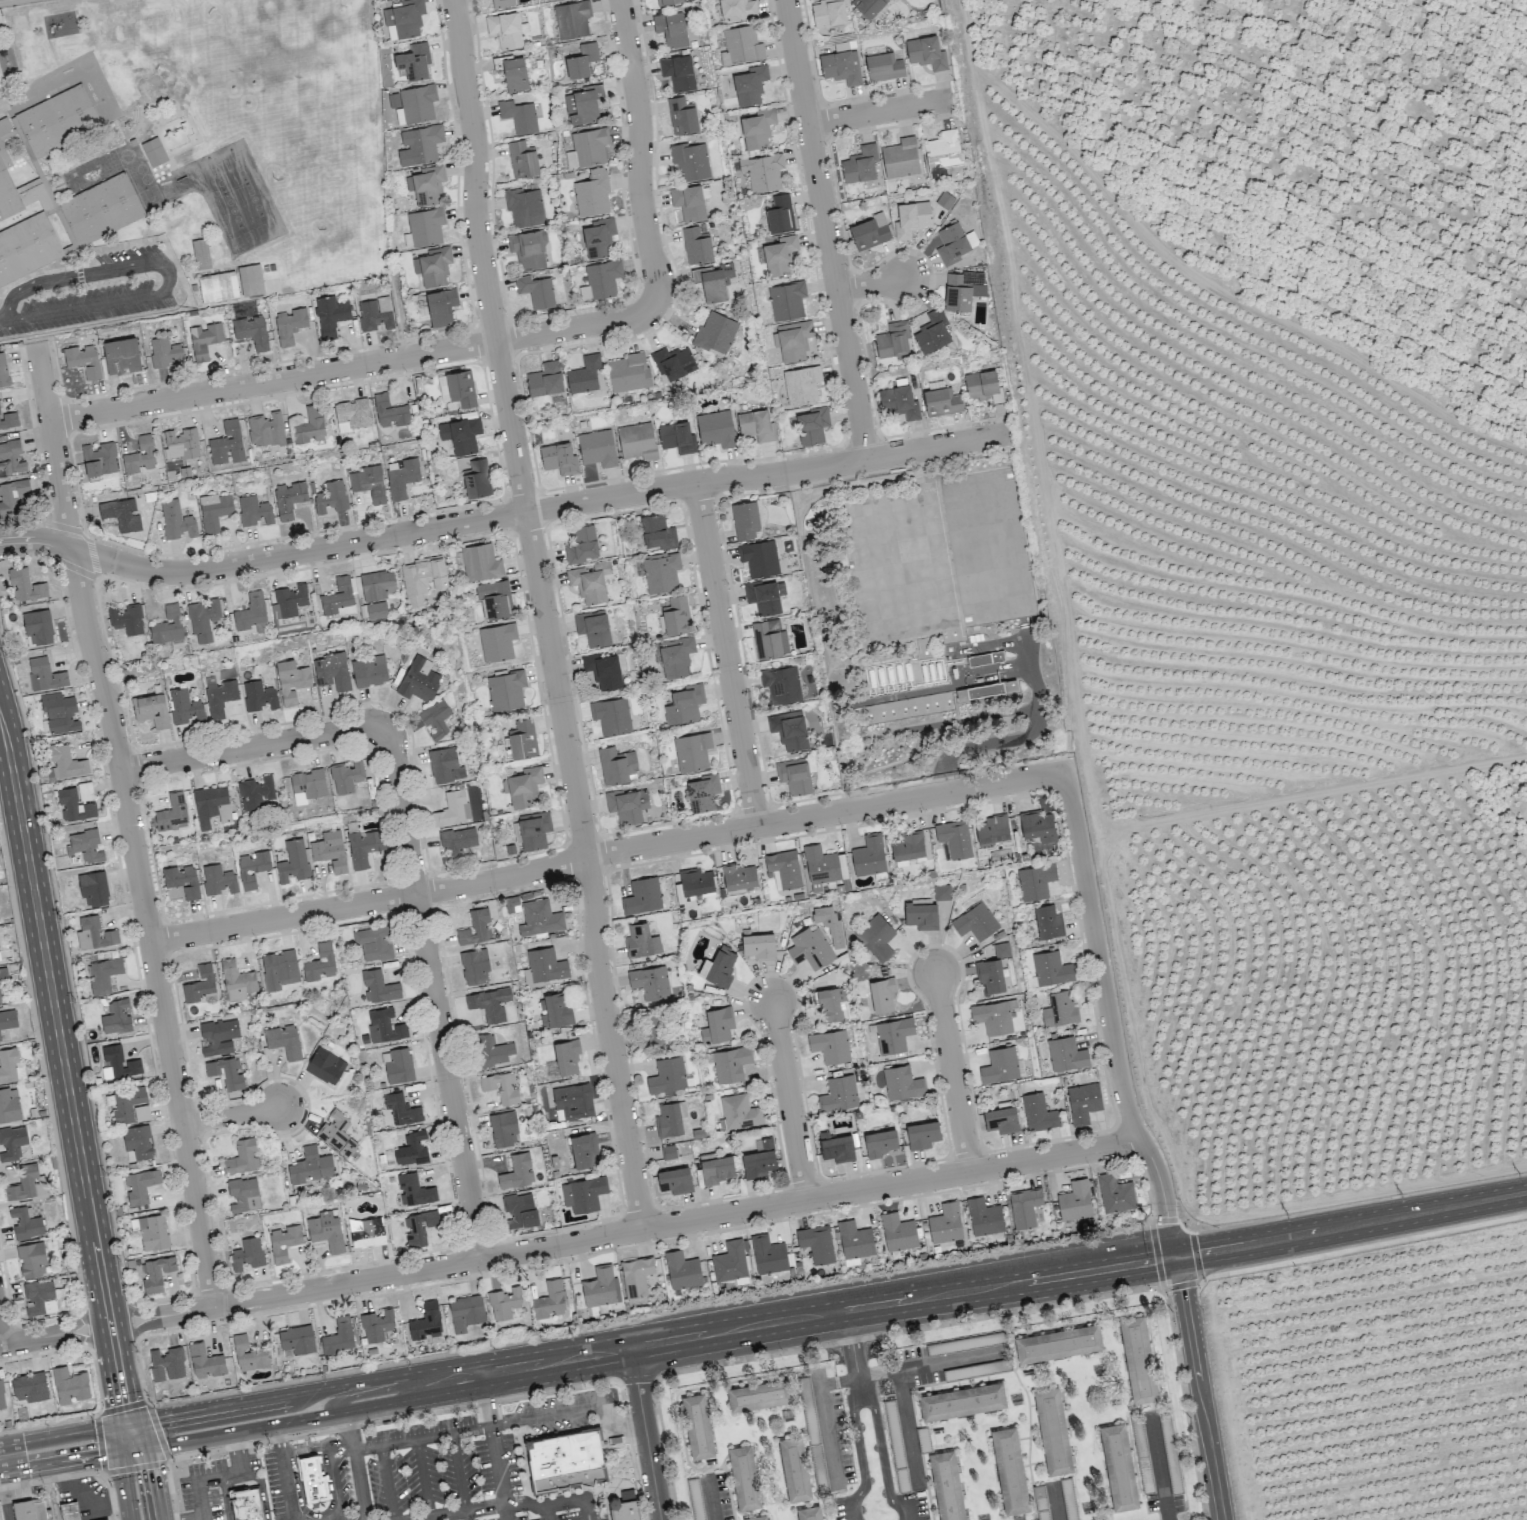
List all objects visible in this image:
road: (10, 1)
building: (668, 1)
building: (502, 3)
building: (868, 7)
building: (737, 9)
building: (829, 12)
building: (403, 17)
building: (571, 19)
building: (504, 29)
building: (671, 29)
building: (741, 45)
building: (925, 52)
building: (413, 61)
building: (581, 61)
building: (841, 66)
building: (883, 67)
building: (678, 72)
building: (749, 85)
building: (417, 103)
building: (583, 105)
road: (878, 111)
building: (518, 115)
building: (682, 116)
building: (757, 128)
building: (419, 145)
building: (587, 147)
road: (638, 152)
building: (942, 153)
building: (900, 158)
building: (522, 159)
building: (690, 161)
park: (236, 163)
building: (860, 164)
park: (214, 172)
building: (762, 172)
building: (23, 183)
building: (426, 184)
building: (592, 193)
park: (148, 196)
park: (253, 198)
building: (944, 200)
building: (688, 202)
building: (524, 207)
park: (231, 208)
building: (779, 214)
building: (911, 218)
building: (425, 227)
road: (824, 229)
building: (869, 232)
building: (598, 237)
building: (954, 243)
building: (696, 246)
building: (528, 248)
building: (200, 254)
building: (779, 255)
building: (432, 266)
building: (603, 278)
building: (250, 279)
building: (713, 282)
road: (869, 284)
building: (217, 286)
road: (17, 288)
building: (960, 289)
building: (536, 290)
building: (786, 300)
building: (441, 306)
building: (330, 314)
building: (375, 314)
road: (2, 319)
building: (290, 325)
building: (252, 331)
building: (933, 332)
building: (715, 333)
building: (204, 340)
building: (792, 340)
building: (892, 340)
building: (165, 352)
building: (121, 356)
building: (82, 360)
building: (673, 362)
road: (352, 365)
building: (3, 371)
building: (628, 372)
building: (584, 374)
building: (545, 379)
building: (801, 384)
building: (983, 385)
building: (457, 388)
building: (899, 401)
building: (941, 401)
building: (389, 411)
building: (353, 412)
building: (8, 419)
building: (756, 425)
building: (812, 425)
building: (309, 426)
building: (265, 428)
building: (715, 428)
building: (460, 434)
building: (676, 437)
building: (636, 441)
building: (180, 444)
building: (227, 444)
road: (53, 446)
building: (597, 448)
building: (139, 455)
building: (11, 458)
building: (559, 458)
building: (99, 459)
building: (402, 478)
building: (477, 479)
building: (368, 483)
building: (12, 497)
building: (330, 497)
building: (288, 499)
road: (541, 508)
building: (214, 510)
building: (254, 510)
building: (120, 514)
building: (176, 520)
building: (745, 520)
building: (657, 532)
road: (35, 540)
building: (581, 545)
building: (759, 558)
building: (480, 562)
building: (661, 571)
building: (422, 579)
building: (589, 582)
building: (377, 584)
building: (25, 585)
building: (764, 596)
building: (338, 598)
building: (495, 598)
building: (288, 601)
building: (376, 610)
building: (251, 613)
road: (543, 614)
building: (676, 615)
building: (126, 619)
building: (203, 619)
building: (167, 625)
building: (38, 627)
building: (593, 627)
building: (769, 639)
building: (497, 641)
road: (725, 653)
building: (675, 655)
building: (603, 669)
building: (331, 671)
building: (369, 671)
building: (44, 674)
building: (418, 680)
building: (291, 681)
building: (781, 684)
building: (986, 689)
building: (505, 690)
building: (259, 695)
building: (219, 697)
building: (684, 704)
building: (184, 706)
building: (908, 707)
building: (149, 709)
building: (59, 713)
building: (611, 716)
building: (435, 719)
building: (789, 729)
road: (1025, 732)
building: (523, 739)
road: (114, 743)
road: (252, 745)
building: (691, 751)
building: (66, 763)
building: (445, 765)
building: (616, 765)
building: (794, 775)
building: (346, 776)
road: (945, 781)
building: (307, 785)
building: (522, 787)
building: (255, 792)
building: (702, 792)
building: (76, 801)
building: (211, 805)
building: (626, 805)
building: (452, 809)
building: (172, 813)
building: (1037, 825)
building: (534, 829)
building: (992, 829)
building: (954, 837)
building: (458, 840)
building: (85, 846)
building: (907, 846)
building: (364, 847)
building: (329, 850)
road: (606, 852)
building: (868, 855)
building: (292, 861)
building: (820, 864)
building: (252, 867)
building: (784, 868)
building: (739, 876)
building: (218, 879)
building: (182, 880)
building: (695, 881)
building: (1035, 881)
building: (93, 888)
building: (942, 892)
building: (642, 896)
building: (921, 914)
building: (539, 917)
building: (975, 917)
building: (1047, 921)
building: (829, 924)
building: (475, 927)
building: (94, 933)
building: (876, 936)
building: (640, 940)
building: (374, 942)
building: (758, 946)
building: (810, 948)
building: (1001, 950)
building: (319, 963)
building: (545, 965)
building: (474, 966)
building: (718, 966)
building: (1051, 968)
building: (279, 969)
building: (3, 973)
building: (103, 974)
building: (989, 976)
building: (236, 980)
building: (650, 982)
building: (199, 983)
building: (378, 986)
road: (432, 994)
building: (882, 995)
road: (52, 999)
building: (0, 1000)
building: (490, 1003)
building: (830, 1003)
building: (1059, 1009)
building: (556, 1010)
building: (993, 1016)
building: (116, 1017)
road: (1108, 1017)
building: (7, 1018)
building: (717, 1025)
building: (384, 1026)
building: (651, 1027)
building: (893, 1034)
building: (218, 1036)
building: (0, 1040)
building: (283, 1040)
building: (830, 1046)
building: (492, 1050)
building: (1066, 1054)
building: (566, 1057)
building: (117, 1062)
building: (730, 1064)
building: (10, 1065)
building: (325, 1065)
building: (397, 1065)
building: (1000, 1065)
road: (952, 1070)
building: (226, 1072)
building: (667, 1075)
building: (901, 1083)
building: (501, 1087)
building: (838, 1093)
road: (788, 1099)
building: (572, 1101)
building: (1083, 1102)
building: (9, 1104)
building: (130, 1105)
building: (399, 1109)
building: (739, 1112)
building: (1038, 1112)
road: (229, 1115)
building: (670, 1118)
building: (1001, 1120)
road: (180, 1123)
building: (503, 1128)
building: (337, 1133)
building: (922, 1134)
building: (138, 1141)
building: (12, 1142)
building: (880, 1142)
building: (836, 1147)
building: (411, 1148)
building: (583, 1149)
building: (668, 1151)
building: (241, 1157)
building: (759, 1160)
building: (310, 1166)
building: (717, 1169)
building: (674, 1180)
building: (26, 1184)
building: (140, 1185)
building: (414, 1189)
building: (583, 1193)
building: (1115, 1193)
building: (243, 1194)
building: (1075, 1200)
building: (1024, 1207)
building: (519, 1210)
building: (984, 1217)
building: (25, 1222)
road: (676, 1222)
building: (945, 1223)
road: (1351, 1224)
building: (419, 1227)
building: (325, 1230)
building: (151, 1231)
building: (366, 1232)
building: (898, 1232)
building: (854, 1239)
building: (283, 1241)
building: (816, 1243)
road: (1362, 1247)
building: (247, 1253)
building: (768, 1254)
traffic signals: (1176, 1257)
building: (31, 1260)
building: (730, 1261)
building: (682, 1270)
building: (156, 1273)
building: (636, 1275)
road: (1179, 1284)
building: (601, 1287)
building: (40, 1297)
building: (549, 1300)
road: (902, 1300)
building: (504, 1302)
road: (198, 1310)
road: (137, 1311)
building: (465, 1311)
road: (85, 1314)
road: (109, 1319)
building: (426, 1321)
road: (143, 1324)
building: (377, 1325)
building: (338, 1337)
road: (87, 1338)
road: (28, 1339)
building: (297, 1339)
building: (1059, 1343)
road: (852, 1347)
building: (248, 1353)
building: (1139, 1360)
building: (205, 1361)
road: (928, 1361)
building: (166, 1363)
road: (530, 1365)
building: (69, 1385)
building: (29, 1386)
road: (120, 1388)
road: (860, 1388)
road: (1200, 1388)
road: (415, 1392)
road: (375, 1393)
building: (758, 1394)
building: (1, 1396)
road: (278, 1396)
road: (486, 1400)
traffic signals: (123, 1401)
building: (963, 1403)
road: (545, 1415)
traffic signals: (161, 1418)
road: (620, 1419)
building: (697, 1426)
road: (259, 1427)
building: (1053, 1431)
road: (645, 1433)
road: (62, 1435)
road: (137, 1435)
road: (422, 1437)
road: (122, 1438)
building: (564, 1451)
traffic signals: (95, 1456)
road: (59, 1461)
parking lot: (475, 1464)
road: (357, 1465)
building: (1118, 1465)
building: (794, 1468)
traffic signals: (152, 1469)
road: (1158, 1470)
building: (1010, 1471)
road: (284, 1472)
road: (498, 1472)
road: (458, 1476)
building: (311, 1477)
road: (335, 1477)
building: (745, 1478)
road: (219, 1479)
road: (422, 1479)
building: (566, 1479)
parking lot: (214, 1481)
parking lot: (278, 1481)
road: (155, 1483)
road: (387, 1483)
building: (947, 1485)
road: (123, 1486)
road: (261, 1488)
parking lot: (342, 1488)
road: (4, 1489)
road: (82, 1498)
road: (224, 1499)
road: (710, 1500)
building: (246, 1503)
road: (1054, 1505)
road: (543, 1506)
building: (30, 1509)
road: (585, 1509)
building: (623, 1509)
building: (68, 1510)
road: (457, 1512)
road: (311, 1513)
road: (545, 1513)
building: (810, 1514)
building: (759, 1518)
building: (103, 1519)
road: (200, 1519)

